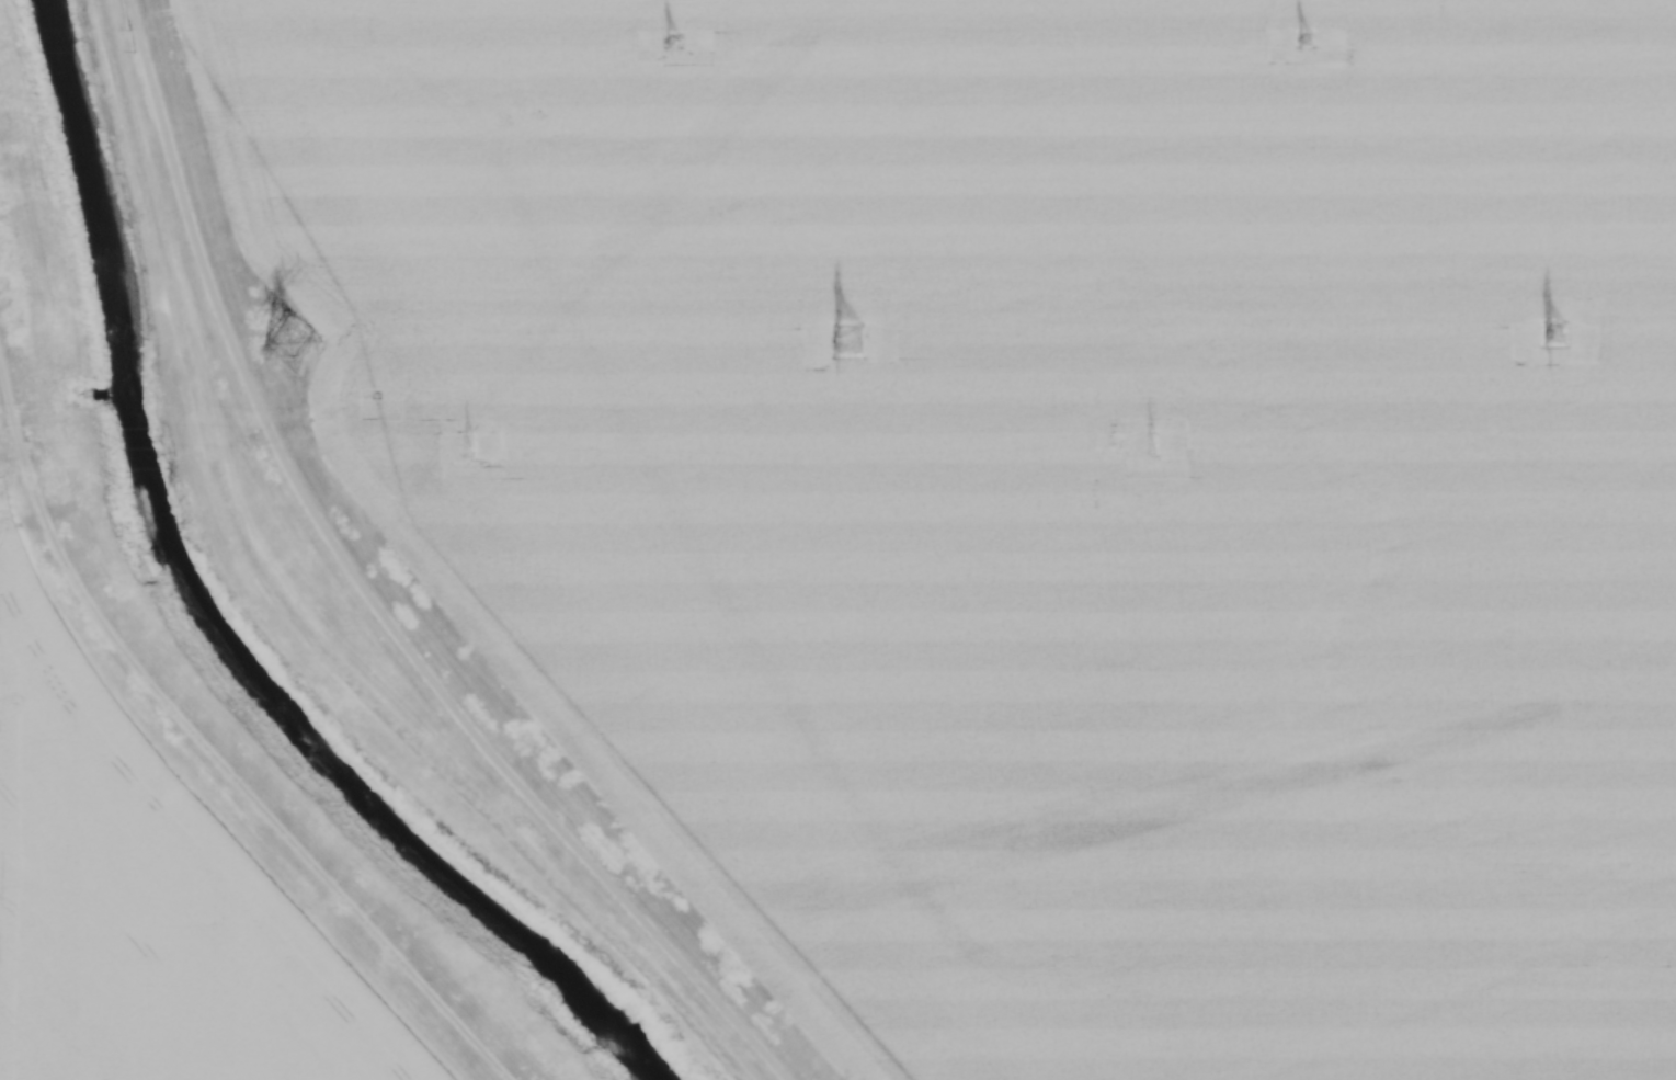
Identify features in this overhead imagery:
power tower: (127, 38)
power tower: (1303, 39)
power tower: (670, 42)
river: (93, 204)
power tower: (1557, 336)
power tower: (848, 341)
power tower: (286, 346)
power tower: (1155, 442)
power tower: (477, 452)
crop: (1046, 489)
road: (368, 593)
river: (334, 784)

